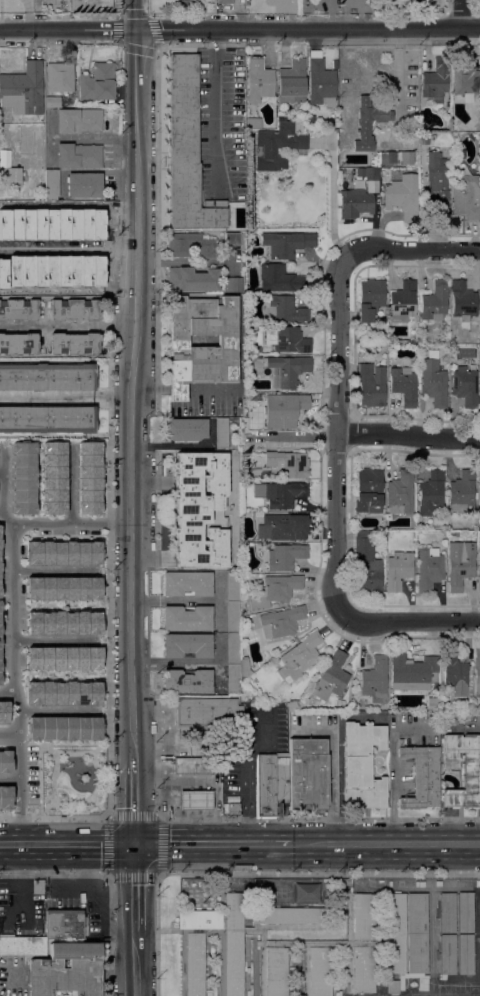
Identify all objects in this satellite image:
building: (224, 1)
building: (421, 2)
road: (461, 13)
road: (135, 14)
road: (151, 22)
traffic signals: (136, 28)
road: (239, 28)
road: (136, 53)
building: (334, 63)
building: (59, 77)
building: (462, 78)
building: (258, 80)
building: (320, 80)
building: (435, 80)
building: (292, 81)
building: (98, 82)
building: (23, 87)
building: (51, 101)
road: (214, 109)
building: (304, 109)
building: (78, 120)
building: (368, 122)
building: (253, 123)
road: (2, 133)
road: (92, 138)
building: (424, 138)
building: (278, 145)
building: (187, 151)
building: (78, 155)
building: (390, 158)
building: (10, 174)
building: (371, 174)
building: (51, 184)
building: (83, 184)
building: (437, 186)
building: (402, 196)
road: (333, 197)
building: (466, 197)
building: (355, 202)
building: (232, 238)
building: (287, 243)
building: (190, 245)
road: (69, 247)
road: (412, 250)
road: (186, 260)
building: (279, 278)
building: (193, 279)
building: (232, 284)
building: (370, 299)
building: (403, 301)
building: (463, 301)
building: (434, 302)
building: (285, 309)
building: (19, 310)
building: (74, 310)
road: (68, 327)
building: (287, 339)
building: (18, 343)
building: (73, 343)
building: (203, 351)
building: (250, 359)
building: (287, 370)
building: (47, 377)
building: (433, 380)
building: (371, 384)
building: (403, 385)
building: (465, 386)
road: (65, 396)
building: (283, 409)
building: (47, 419)
road: (130, 419)
building: (251, 424)
building: (185, 428)
building: (221, 432)
building: (231, 433)
road: (410, 435)
road: (292, 436)
road: (341, 436)
road: (170, 445)
building: (287, 463)
road: (2, 471)
building: (23, 476)
building: (88, 477)
building: (55, 478)
road: (72, 483)
building: (479, 485)
building: (368, 489)
building: (462, 491)
building: (400, 492)
building: (431, 492)
building: (283, 494)
building: (200, 509)
road: (64, 521)
building: (281, 526)
building: (62, 552)
building: (0, 556)
building: (285, 556)
building: (460, 563)
building: (366, 564)
road: (55, 568)
building: (429, 568)
building: (398, 570)
building: (187, 583)
building: (233, 586)
building: (479, 586)
building: (61, 587)
building: (275, 590)
building: (233, 616)
building: (187, 618)
building: (281, 621)
building: (63, 622)
road: (409, 622)
road: (56, 640)
road: (15, 644)
building: (187, 644)
building: (233, 649)
building: (0, 657)
building: (298, 657)
building: (62, 659)
building: (243, 667)
building: (412, 671)
building: (477, 672)
building: (454, 674)
building: (332, 676)
building: (232, 679)
building: (375, 680)
building: (187, 681)
building: (62, 692)
building: (340, 702)
building: (432, 703)
building: (294, 705)
road: (59, 710)
building: (4, 711)
building: (208, 712)
building: (64, 727)
road: (11, 733)
building: (400, 742)
building: (6, 762)
building: (362, 765)
building: (192, 766)
road: (392, 770)
building: (307, 774)
road: (332, 775)
building: (421, 777)
park: (73, 778)
road: (11, 779)
building: (471, 779)
building: (282, 780)
building: (265, 785)
building: (6, 796)
building: (196, 799)
road: (136, 802)
road: (246, 804)
building: (233, 809)
road: (158, 816)
traffic signals: (135, 844)
road: (212, 844)
road: (384, 844)
road: (67, 845)
road: (88, 867)
building: (38, 886)
road: (63, 886)
road: (136, 887)
road: (105, 910)
building: (447, 912)
building: (465, 912)
building: (290, 918)
building: (63, 924)
building: (394, 932)
building: (417, 932)
building: (378, 936)
building: (291, 940)
building: (360, 942)
building: (22, 946)
building: (378, 948)
building: (447, 954)
building: (465, 954)
road: (136, 963)
building: (231, 965)
building: (66, 970)
building: (273, 971)
building: (317, 971)
building: (393, 986)

